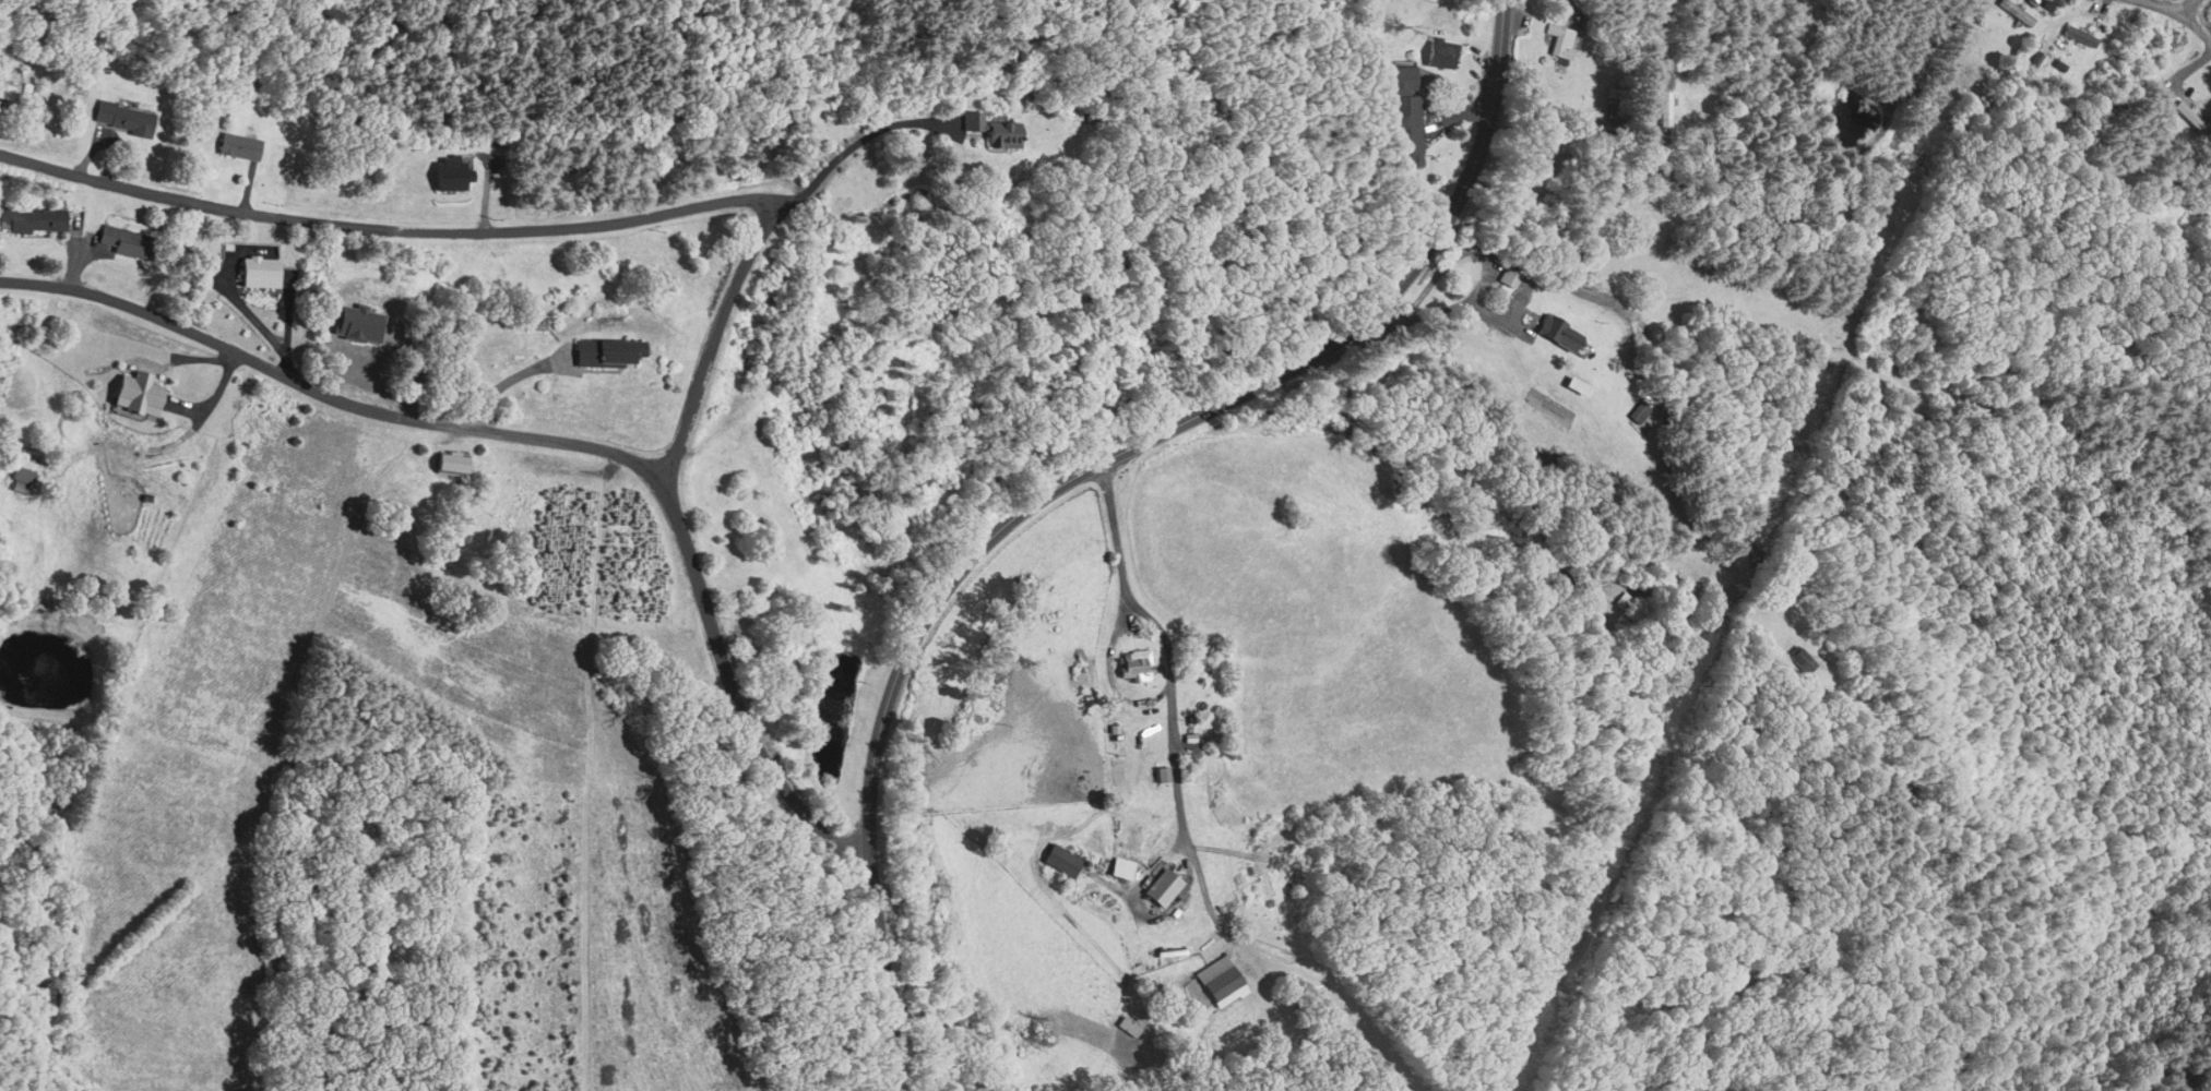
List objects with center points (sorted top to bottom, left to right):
road: (2182, 8)
building: (2008, 12)
road: (2178, 19)
building: (2073, 36)
building: (1560, 41)
building: (1441, 53)
building: (1402, 101)
building: (1662, 110)
building: (2187, 116)
building: (127, 119)
building: (979, 122)
building: (1010, 136)
building: (240, 147)
building: (455, 173)
building: (1834, 217)
building: (36, 220)
road: (547, 226)
building: (130, 242)
building: (266, 273)
building: (1511, 277)
building: (1549, 332)
building: (615, 352)
building: (145, 394)
road: (330, 398)
building: (457, 465)
building: (25, 477)
road: (1070, 477)
building: (1793, 660)
building: (1143, 666)
road: (732, 694)
building: (1169, 776)
building: (1067, 861)
building: (1169, 886)
building: (1216, 983)
building: (1121, 1028)

